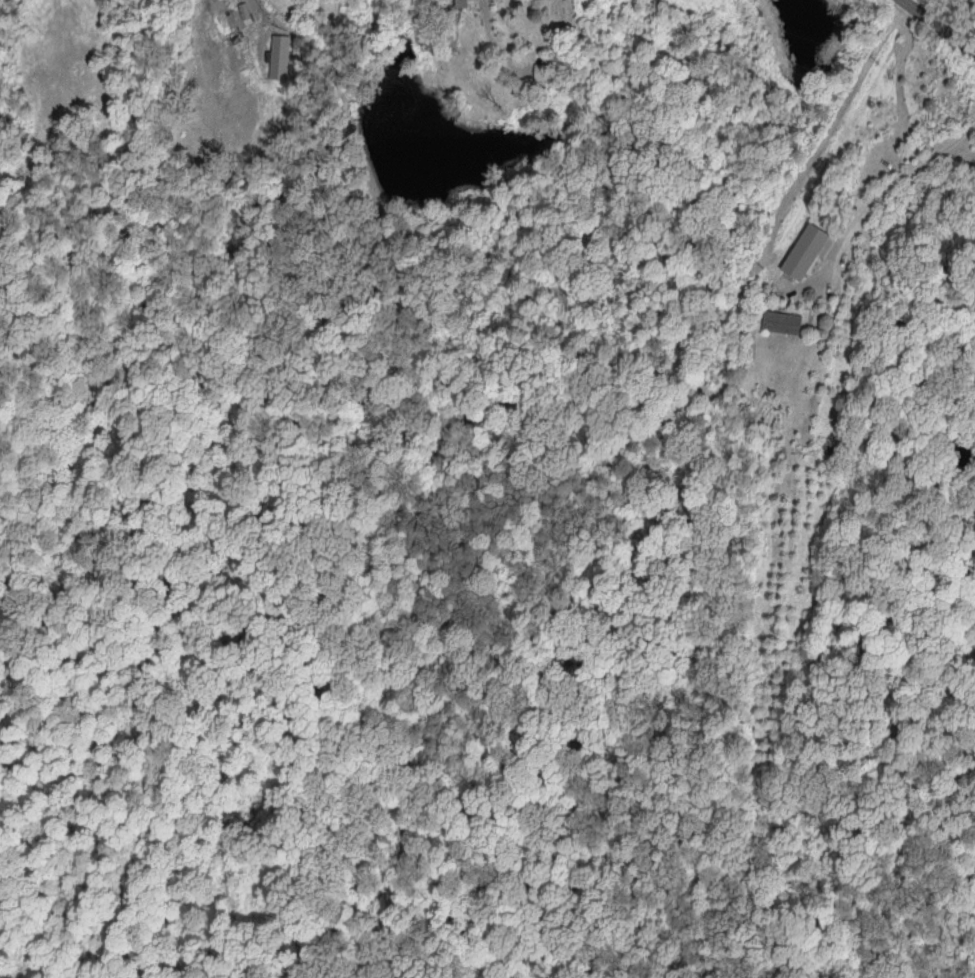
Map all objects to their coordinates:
building: (466, 3)
road: (452, 10)
road: (255, 12)
road: (940, 30)
road: (884, 192)
building: (807, 251)
building: (782, 322)

